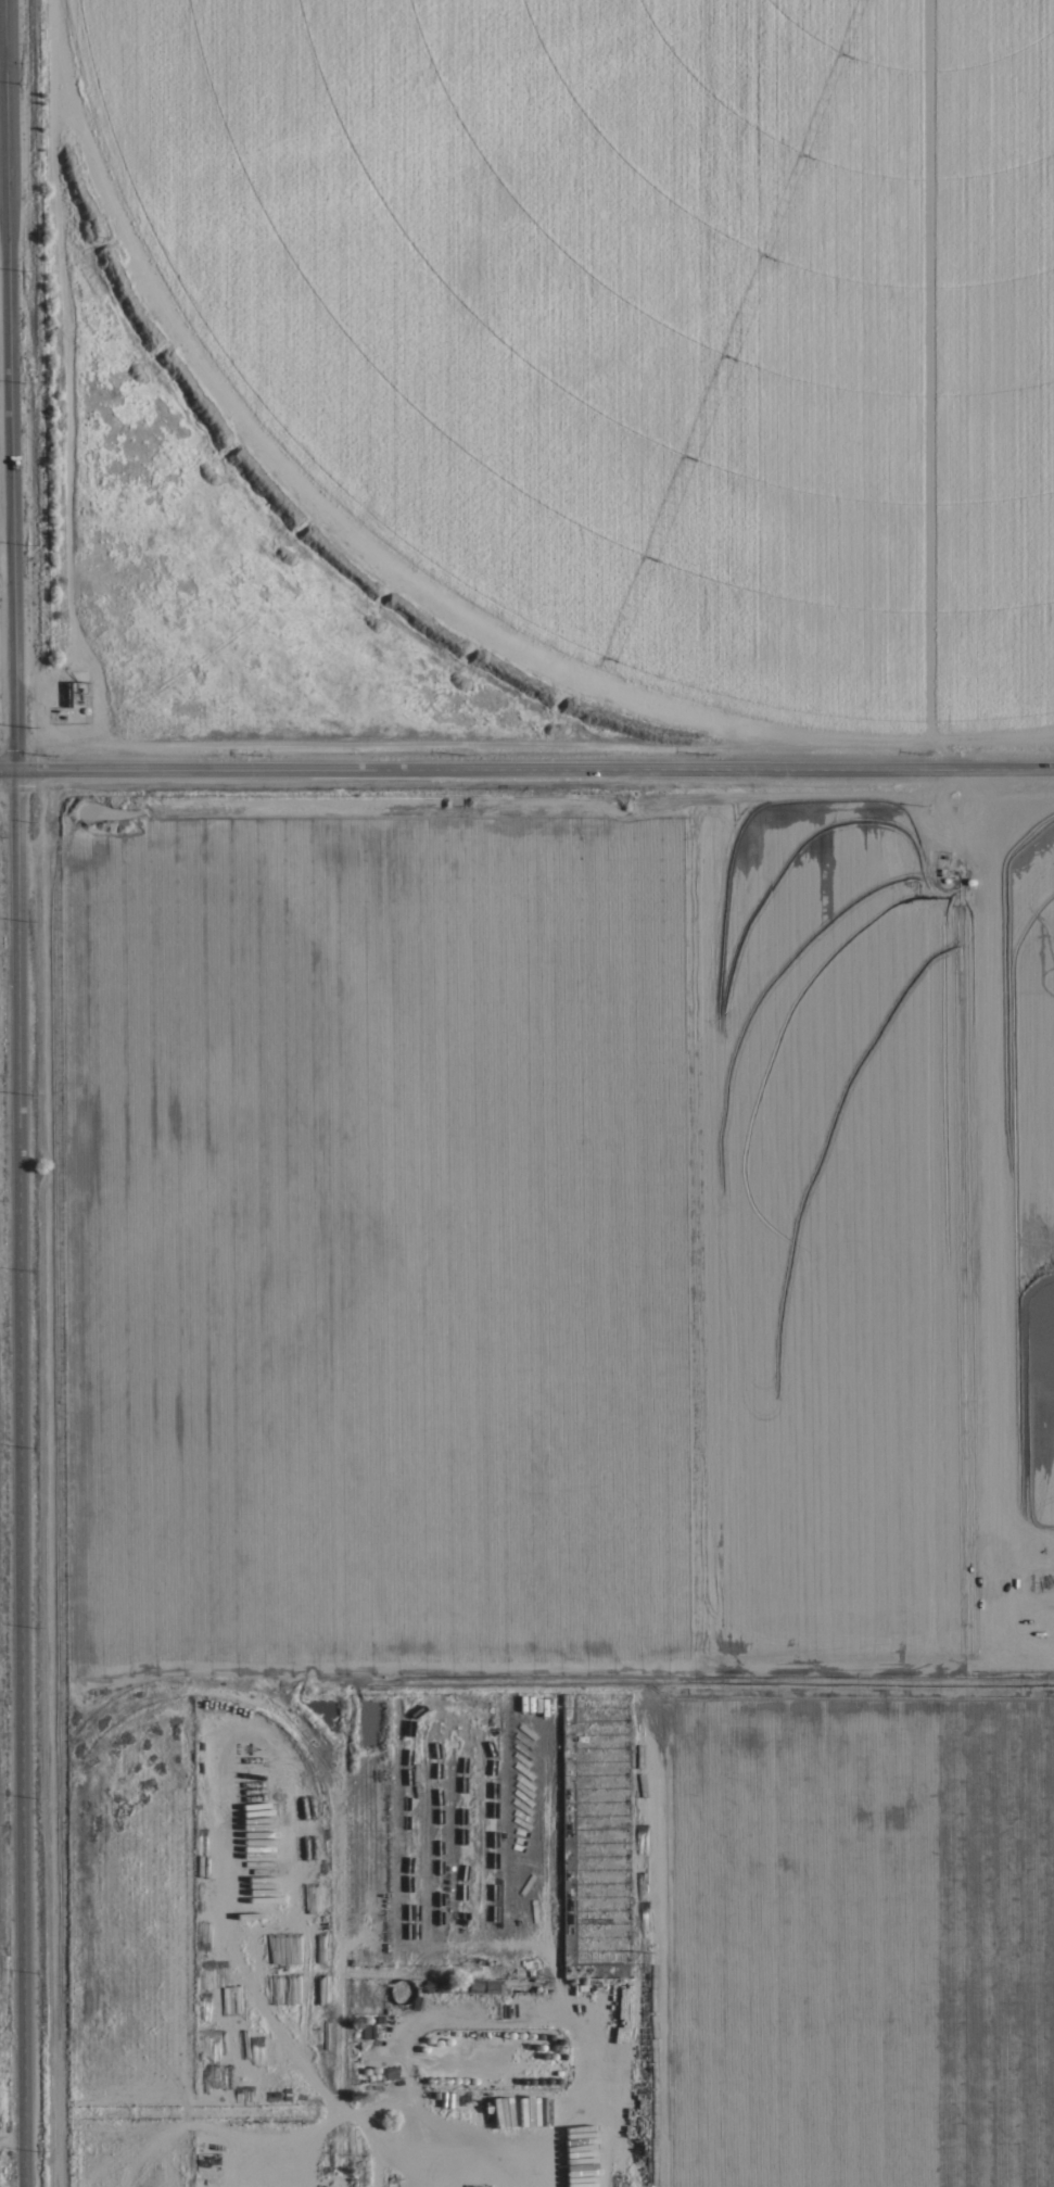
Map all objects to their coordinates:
road: (2, 63)
road: (10, 387)
road: (8, 772)
road: (535, 772)
crop: (627, 984)
road: (20, 1480)
building: (567, 1829)

